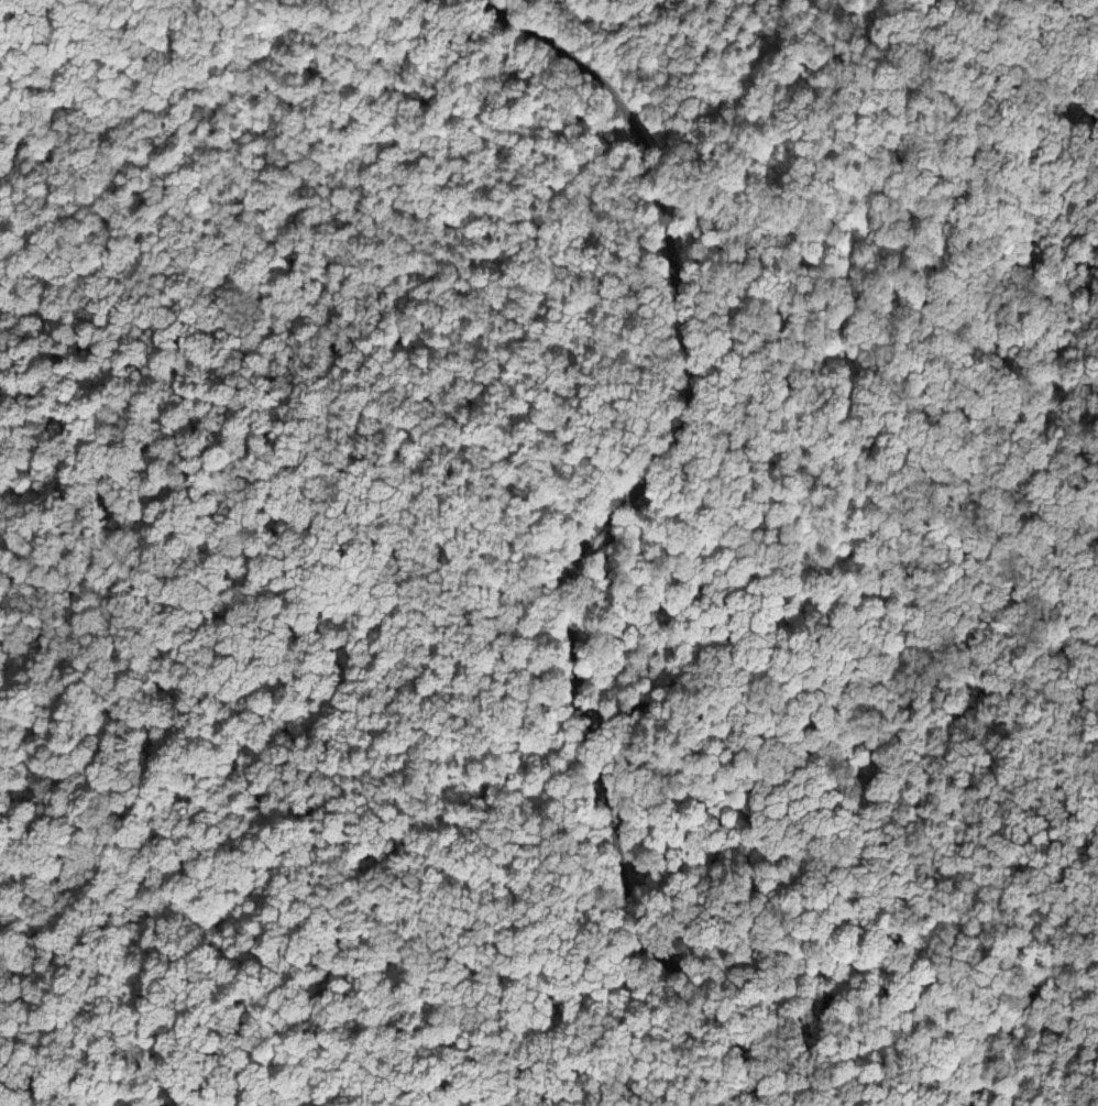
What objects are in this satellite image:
road: (520, 24)
road: (564, 566)

